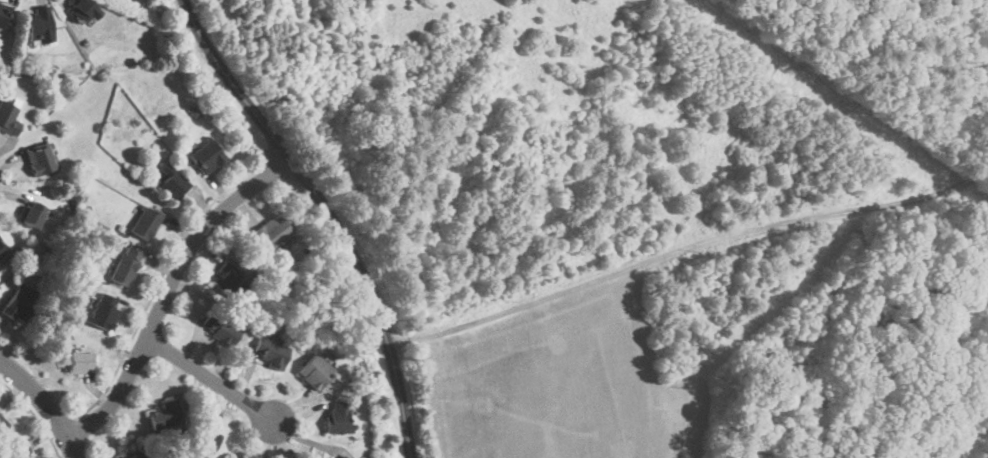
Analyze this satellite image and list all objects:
building: (81, 10)
building: (3, 14)
building: (37, 24)
building: (8, 120)
building: (204, 156)
building: (38, 159)
building: (171, 181)
road: (330, 213)
building: (30, 214)
building: (144, 222)
building: (270, 232)
road: (688, 246)
building: (2, 248)
building: (124, 265)
road: (158, 279)
building: (228, 280)
road: (169, 288)
building: (18, 302)
building: (102, 311)
building: (217, 326)
building: (270, 352)
building: (77, 361)
building: (313, 370)
road: (215, 380)
road: (45, 401)
building: (164, 414)
road: (34, 415)
building: (337, 416)
building: (1, 423)
road: (60, 423)
building: (202, 440)
building: (15, 452)
building: (135, 456)
building: (341, 457)

